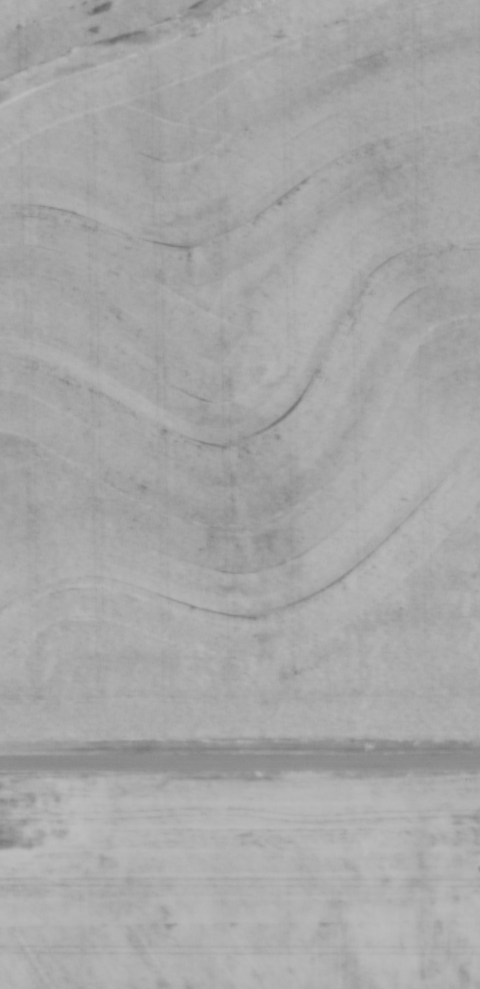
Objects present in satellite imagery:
road: (240, 766)
building: (469, 841)

